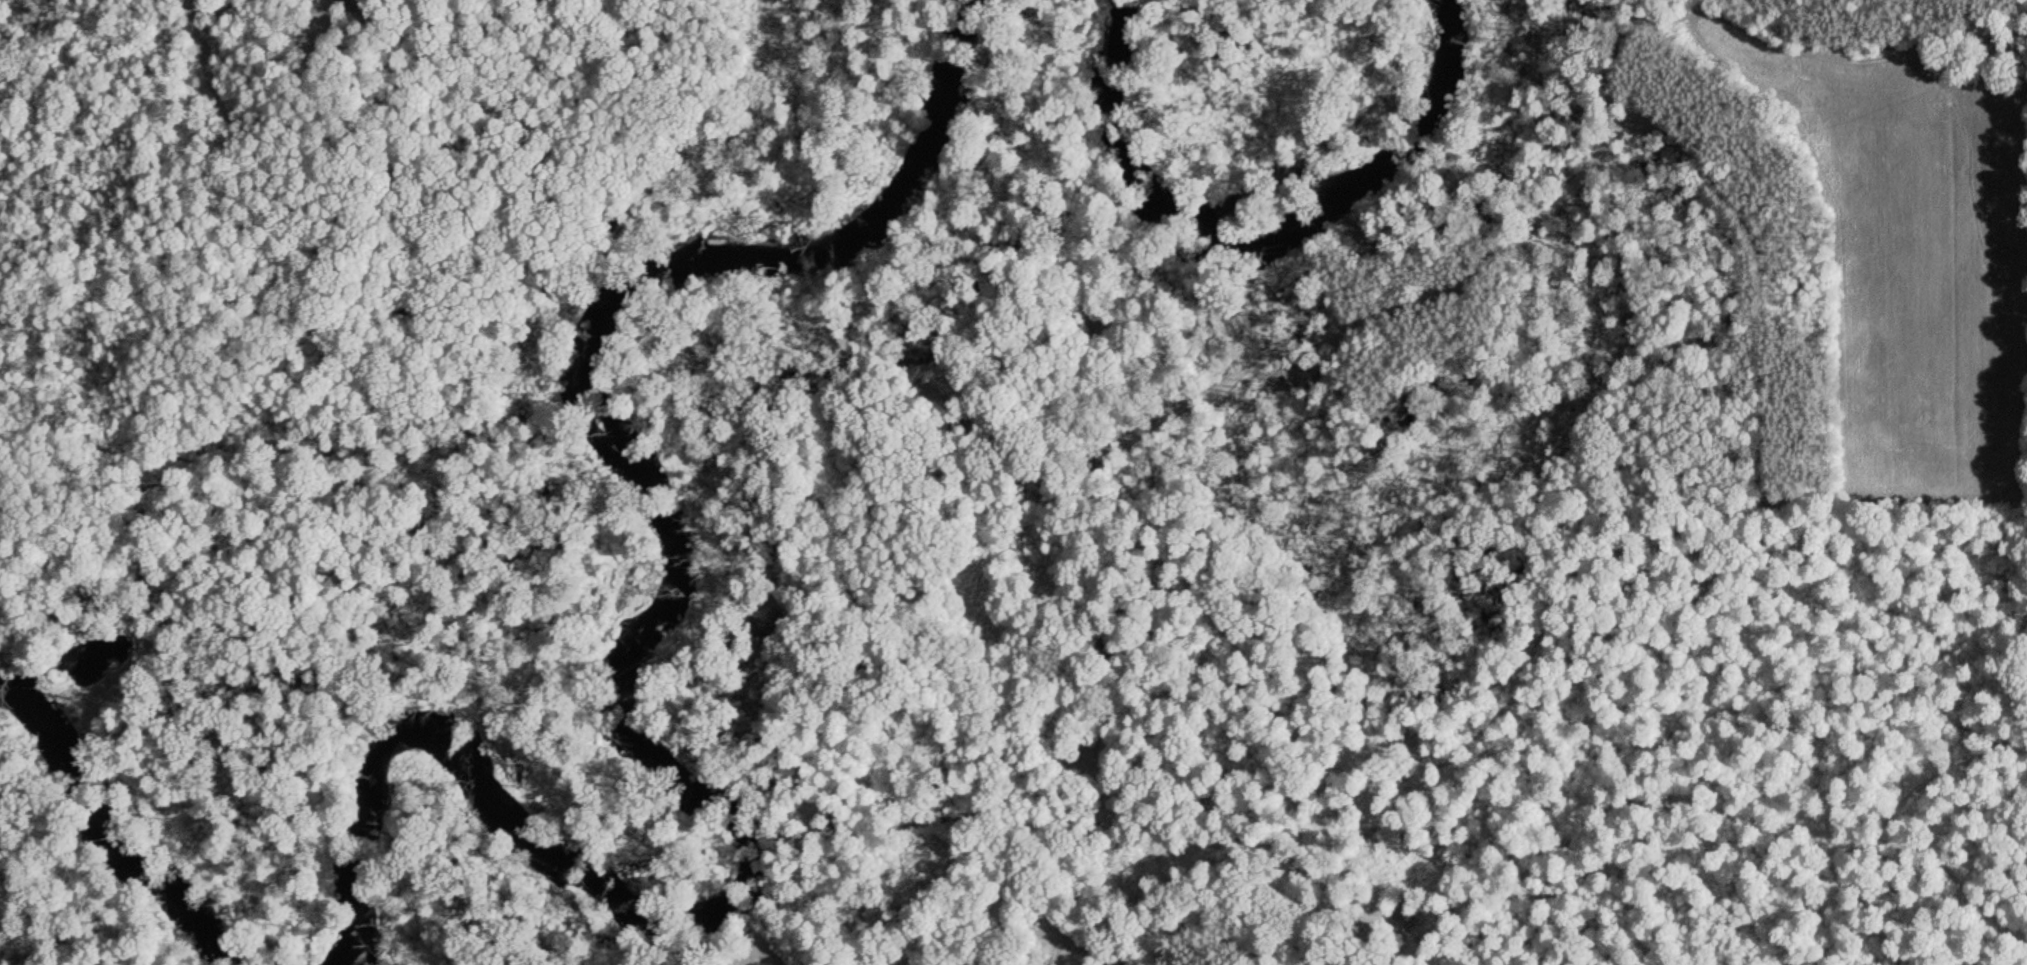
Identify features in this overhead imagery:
river: (918, 172)
river: (1259, 246)
road: (1077, 485)
river: (721, 807)
river: (109, 836)

